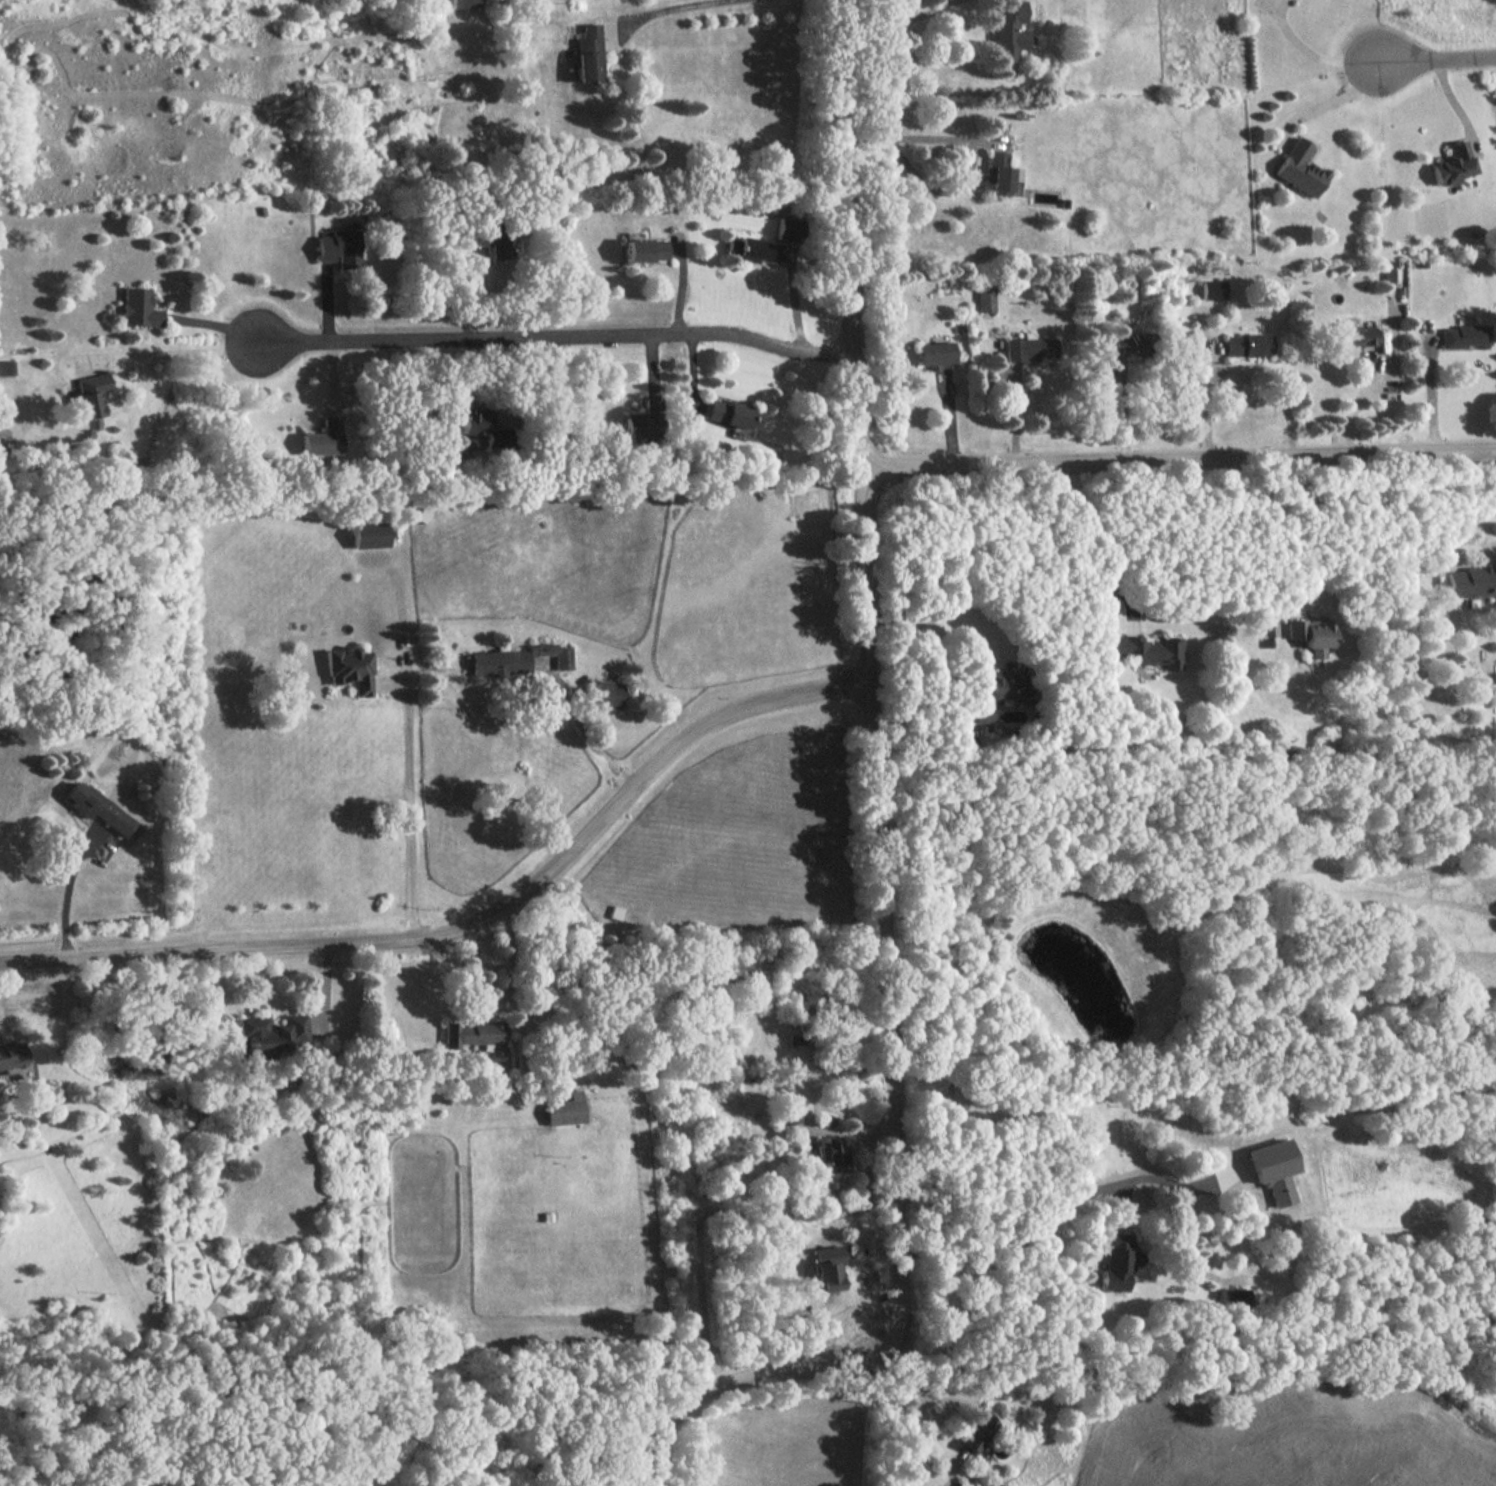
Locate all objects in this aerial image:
building: (462, 3)
road: (672, 9)
road: (899, 21)
building: (1009, 31)
building: (588, 54)
road: (1312, 54)
road: (1437, 57)
road: (968, 164)
building: (1452, 164)
building: (1300, 168)
building: (1001, 174)
building: (788, 228)
building: (491, 238)
building: (339, 247)
building: (645, 249)
building: (752, 249)
building: (1391, 270)
building: (1214, 289)
building: (986, 298)
building: (139, 307)
road: (556, 331)
building: (1465, 335)
building: (1352, 339)
building: (1130, 341)
building: (1248, 344)
building: (1030, 348)
road: (172, 354)
building: (935, 354)
road: (1242, 365)
building: (6, 367)
building: (90, 393)
road: (1432, 395)
road: (1358, 402)
building: (732, 413)
building: (474, 421)
building: (642, 421)
building: (323, 437)
road: (1177, 459)
road: (1464, 522)
building: (368, 534)
road: (1095, 539)
road: (1291, 543)
building: (1471, 581)
building: (1310, 634)
building: (1147, 649)
road: (927, 650)
building: (517, 659)
building: (349, 668)
building: (998, 690)
building: (603, 693)
road: (593, 746)
building: (97, 807)
road: (411, 816)
road: (880, 847)
road: (66, 898)
road: (475, 929)
road: (493, 1001)
building: (272, 1032)
building: (475, 1035)
building: (14, 1059)
building: (566, 1109)
building: (788, 1110)
road: (810, 1123)
building: (832, 1156)
building: (1269, 1169)
road: (1058, 1211)
building: (1113, 1261)
building: (826, 1268)
building: (1232, 1298)
road: (922, 1394)
building: (977, 1431)
building: (964, 1483)

